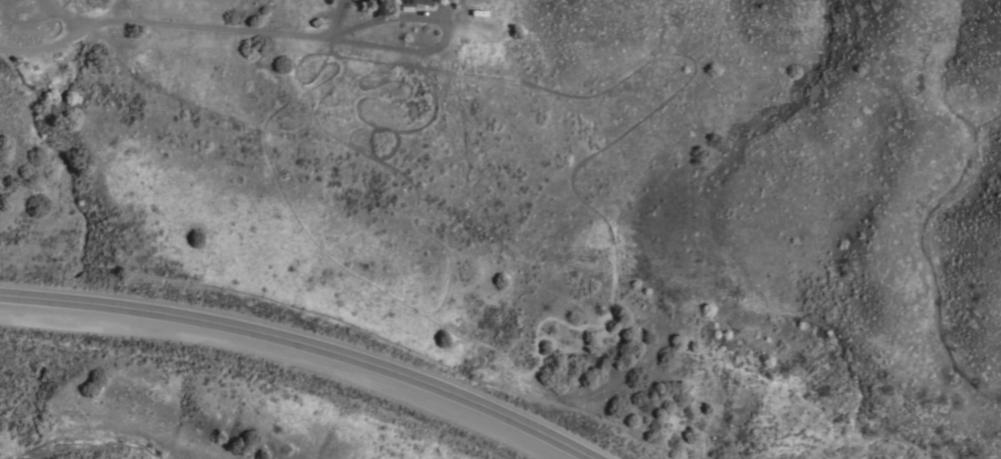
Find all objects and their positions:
building: (370, 1)
building: (413, 2)
road: (153, 23)
road: (442, 30)
road: (297, 349)

